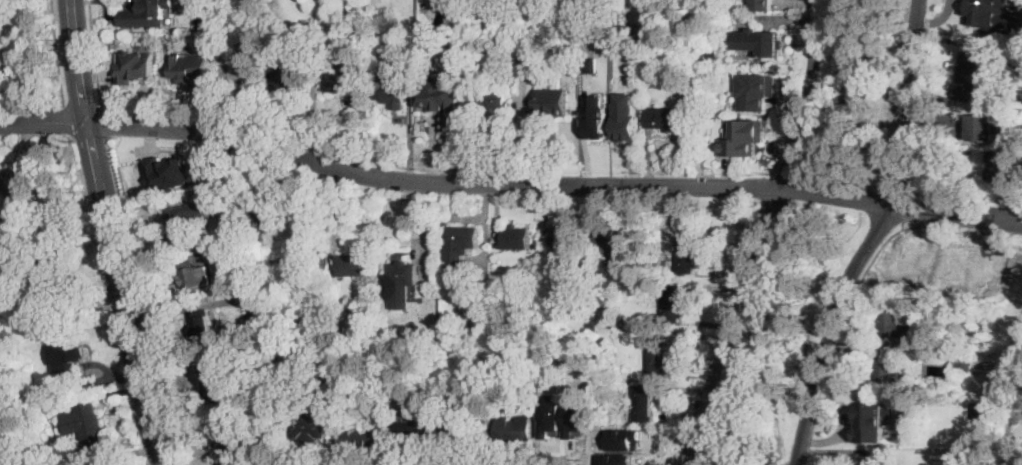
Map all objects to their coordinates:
building: (757, 4)
building: (589, 7)
building: (981, 13)
building: (147, 14)
building: (582, 27)
building: (473, 35)
building: (757, 41)
building: (245, 45)
building: (410, 45)
building: (387, 47)
building: (458, 48)
building: (319, 50)
building: (358, 50)
road: (94, 54)
road: (78, 62)
building: (135, 68)
building: (191, 71)
building: (289, 74)
building: (241, 75)
building: (967, 76)
building: (340, 77)
building: (442, 88)
building: (391, 89)
building: (755, 90)
park: (858, 90)
building: (493, 99)
building: (551, 99)
building: (595, 117)
building: (626, 117)
building: (665, 118)
road: (43, 124)
road: (106, 124)
building: (982, 127)
building: (742, 137)
building: (1000, 169)
building: (169, 172)
building: (19, 185)
road: (552, 185)
building: (187, 223)
road: (844, 232)
road: (766, 235)
building: (566, 236)
building: (463, 237)
building: (516, 237)
road: (873, 237)
building: (609, 240)
building: (281, 250)
building: (686, 254)
building: (321, 262)
building: (350, 265)
building: (964, 270)
building: (902, 271)
building: (45, 274)
building: (194, 276)
building: (401, 284)
building: (247, 287)
road: (124, 295)
road: (143, 303)
building: (672, 304)
building: (353, 313)
building: (202, 324)
building: (900, 325)
building: (296, 333)
park: (781, 340)
building: (286, 342)
building: (916, 344)
building: (71, 348)
building: (656, 353)
building: (960, 368)
building: (224, 374)
building: (889, 375)
building: (282, 387)
building: (644, 402)
building: (872, 421)
building: (87, 425)
building: (312, 429)
building: (415, 430)
building: (465, 430)
building: (515, 430)
building: (562, 436)
building: (364, 437)
building: (228, 439)
building: (625, 439)
building: (628, 453)
building: (617, 459)
building: (878, 459)

